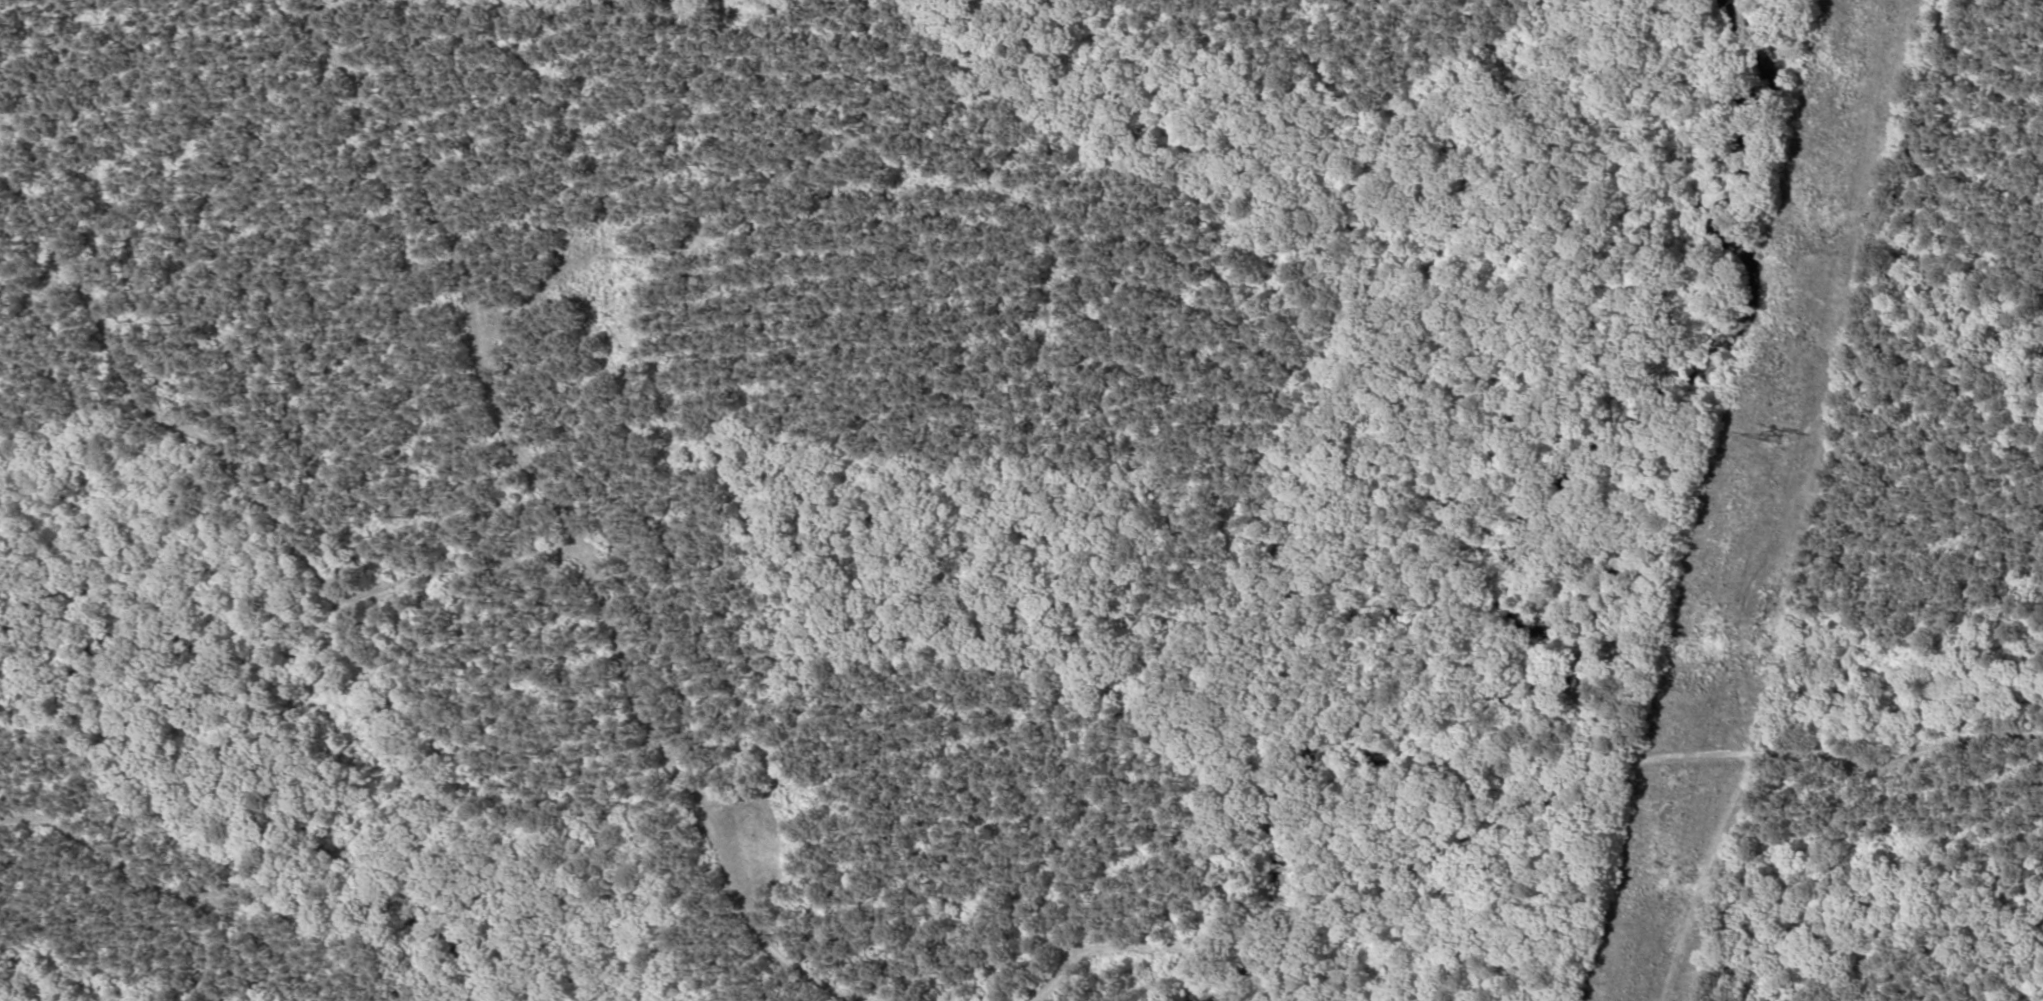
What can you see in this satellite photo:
power tower: (1797, 446)

